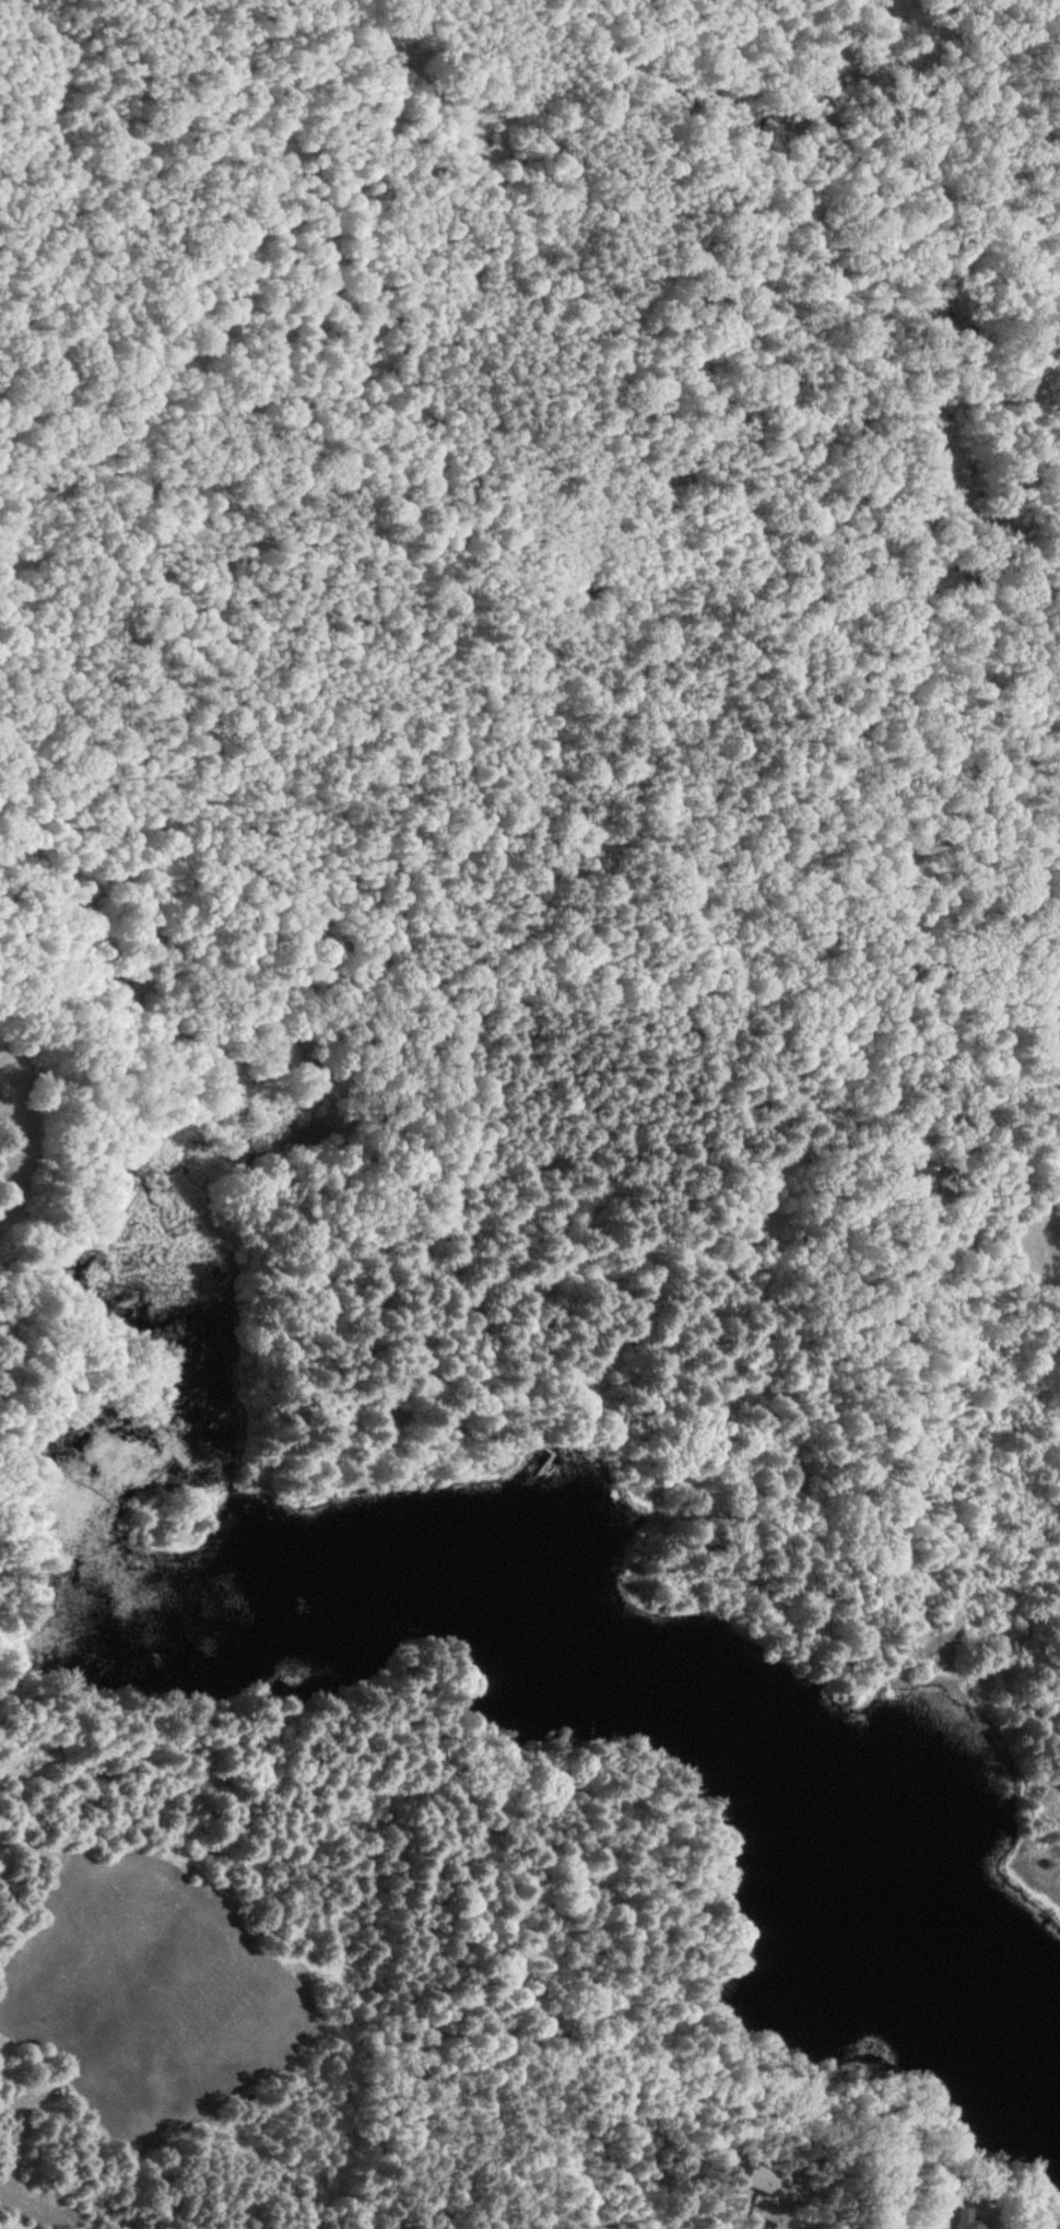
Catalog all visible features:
building: (751, 2177)
building: (947, 2218)

